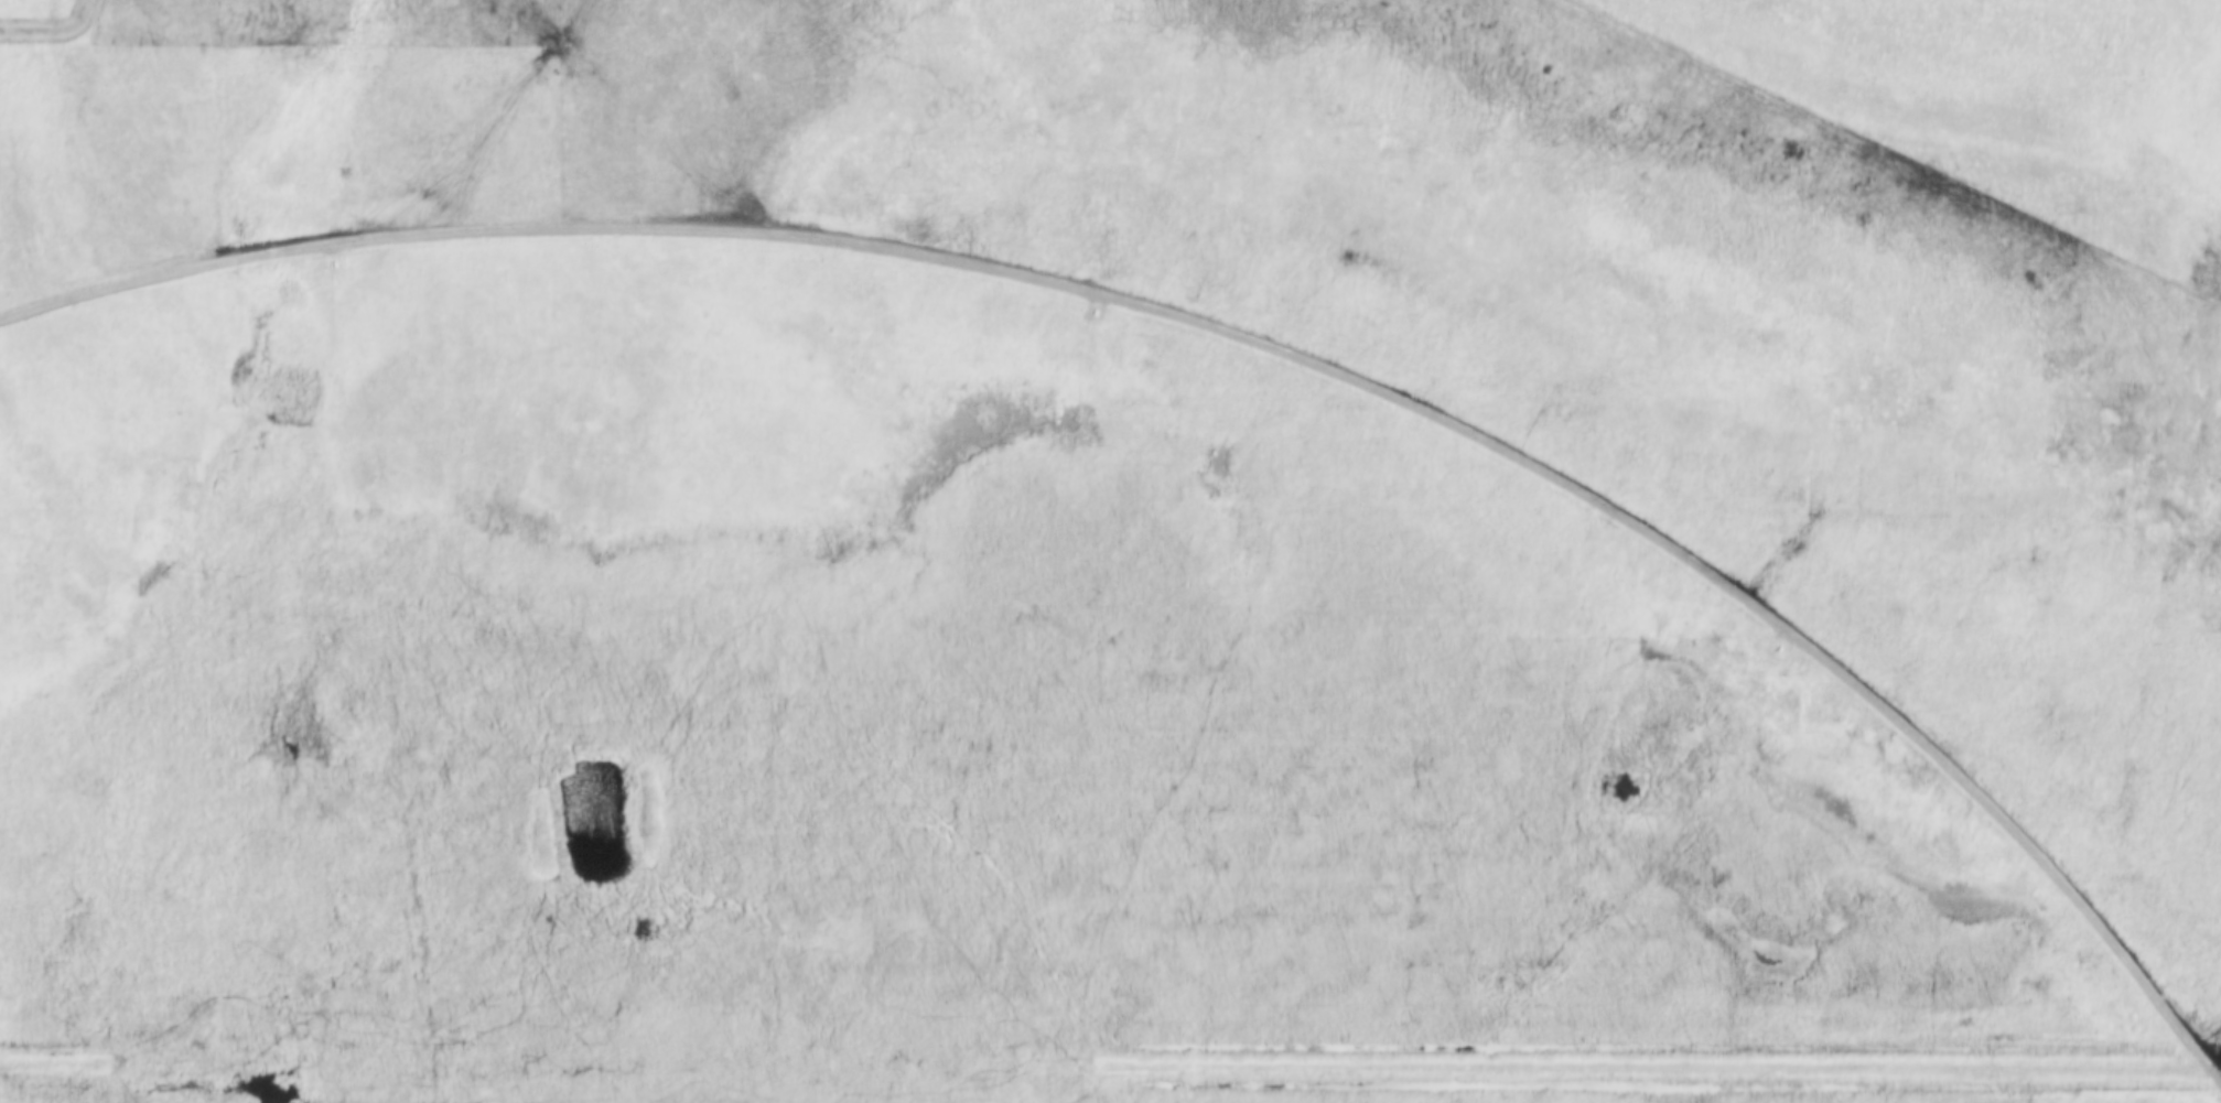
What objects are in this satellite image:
road: (1232, 332)
road: (1110, 1066)

